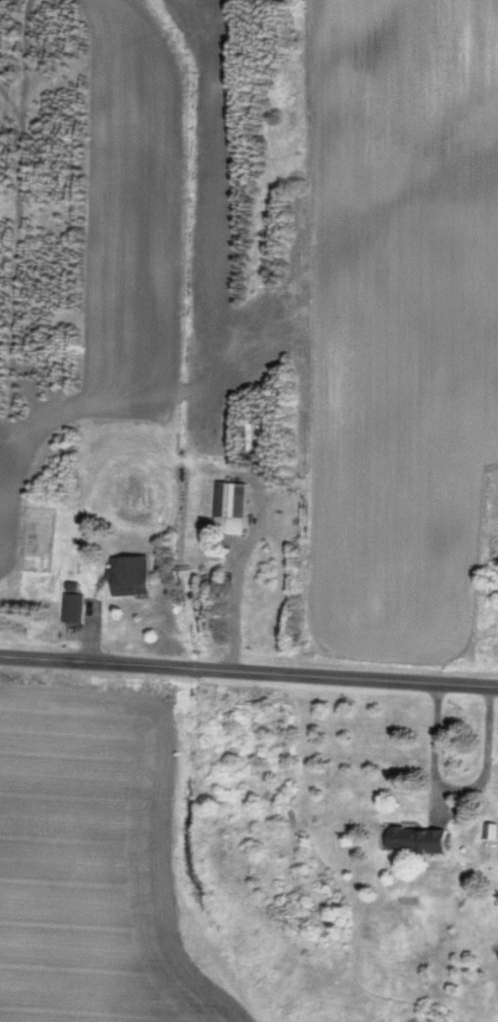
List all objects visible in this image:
building: (230, 508)
building: (130, 576)
building: (72, 609)
road: (248, 673)
building: (412, 840)

